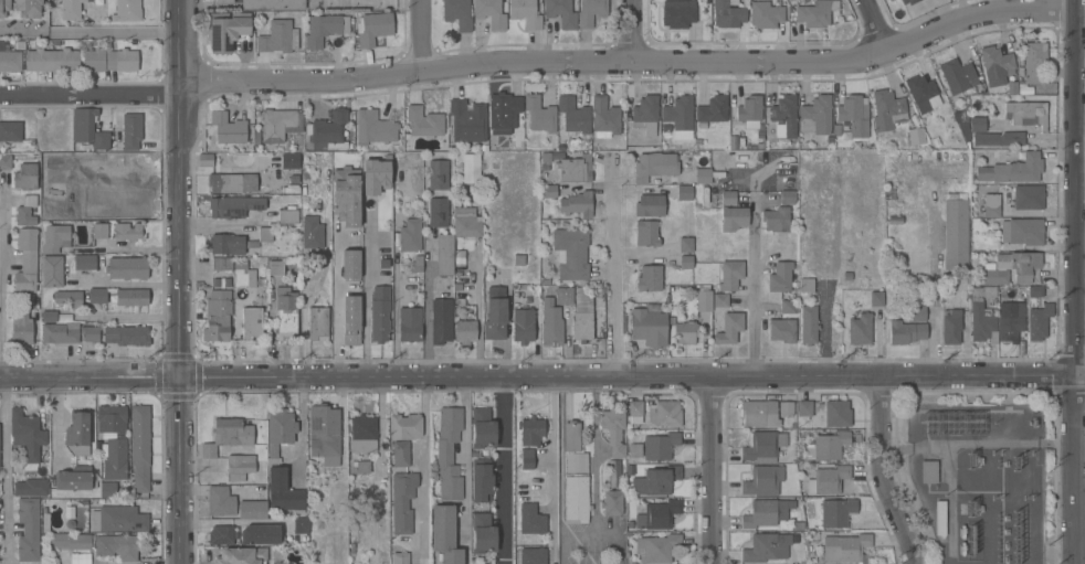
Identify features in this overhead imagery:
building: (790, 0)
building: (909, 1)
building: (224, 2)
building: (273, 4)
building: (3, 8)
building: (28, 8)
building: (71, 9)
building: (127, 11)
building: (560, 12)
building: (591, 12)
building: (457, 13)
building: (489, 13)
building: (525, 13)
building: (678, 13)
building: (728, 13)
building: (817, 13)
building: (766, 14)
road: (1081, 14)
road: (875, 26)
building: (373, 28)
building: (324, 29)
road: (22, 30)
building: (225, 30)
road: (634, 30)
road: (109, 32)
road: (422, 34)
building: (278, 38)
building: (10, 60)
building: (52, 60)
building: (109, 61)
road: (540, 61)
building: (1034, 62)
building: (996, 65)
building: (956, 72)
building: (923, 93)
building: (886, 109)
building: (712, 110)
building: (750, 113)
building: (504, 114)
building: (539, 114)
building: (1026, 114)
building: (573, 115)
building: (645, 115)
building: (854, 115)
building: (817, 116)
building: (678, 117)
building: (784, 117)
building: (604, 118)
building: (467, 121)
building: (280, 125)
building: (422, 125)
building: (977, 125)
building: (228, 128)
building: (373, 128)
building: (88, 129)
building: (131, 130)
building: (10, 131)
building: (327, 131)
building: (916, 136)
building: (1000, 139)
road: (1079, 147)
building: (204, 160)
building: (289, 161)
building: (6, 162)
building: (654, 167)
building: (471, 169)
building: (576, 169)
building: (1013, 170)
building: (438, 175)
building: (703, 175)
building: (25, 177)
building: (376, 177)
building: (233, 183)
building: (295, 183)
building: (548, 191)
building: (122, 192)
building: (684, 192)
building: (346, 196)
building: (1028, 196)
building: (728, 198)
building: (788, 198)
building: (577, 204)
building: (650, 205)
building: (991, 205)
building: (85, 206)
building: (234, 206)
building: (27, 211)
building: (287, 211)
building: (438, 212)
building: (734, 219)
building: (776, 220)
building: (466, 222)
building: (99, 230)
building: (127, 232)
building: (1022, 232)
building: (313, 233)
building: (646, 233)
building: (265, 234)
building: (955, 234)
building: (410, 235)
building: (55, 238)
building: (227, 244)
building: (686, 245)
road: (134, 248)
building: (571, 253)
building: (444, 255)
building: (518, 260)
building: (27, 262)
building: (84, 262)
building: (686, 263)
building: (222, 264)
building: (349, 265)
building: (417, 265)
building: (1020, 266)
building: (128, 267)
building: (275, 268)
building: (52, 272)
building: (730, 275)
building: (243, 276)
building: (780, 277)
building: (994, 277)
building: (650, 279)
road: (178, 281)
road: (1075, 281)
road: (612, 283)
road: (130, 284)
building: (807, 285)
road: (366, 290)
road: (757, 291)
road: (935, 291)
building: (984, 291)
building: (1035, 291)
building: (97, 296)
building: (565, 296)
building: (131, 297)
building: (69, 298)
building: (876, 298)
building: (720, 300)
building: (704, 301)
road: (336, 307)
building: (788, 307)
road: (476, 310)
building: (380, 313)
building: (495, 313)
building: (917, 313)
building: (49, 316)
building: (218, 316)
building: (582, 316)
road: (134, 317)
building: (286, 317)
building: (350, 320)
building: (441, 320)
building: (1039, 321)
road: (426, 322)
building: (318, 323)
building: (550, 323)
building: (983, 323)
building: (252, 324)
building: (410, 324)
building: (809, 324)
road: (393, 326)
building: (523, 326)
building: (950, 326)
building: (1010, 327)
building: (649, 328)
building: (729, 329)
building: (860, 329)
building: (21, 330)
building: (782, 330)
building: (465, 331)
building: (60, 332)
building: (906, 332)
building: (89, 333)
building: (685, 333)
building: (127, 336)
road: (1, 374)
road: (542, 381)
building: (786, 408)
building: (804, 408)
building: (633, 412)
building: (664, 414)
building: (759, 414)
building: (833, 414)
building: (110, 417)
road: (301, 417)
road: (56, 422)
building: (404, 427)
building: (483, 428)
building: (280, 430)
building: (613, 430)
building: (530, 432)
building: (77, 434)
building: (362, 434)
building: (229, 435)
building: (325, 436)
building: (571, 436)
building: (27, 437)
building: (762, 445)
building: (830, 445)
building: (660, 446)
building: (139, 447)
road: (423, 447)
building: (634, 450)
road: (552, 451)
building: (401, 454)
building: (449, 454)
building: (114, 457)
road: (594, 458)
road: (464, 459)
building: (527, 459)
building: (360, 467)
building: (240, 468)
road: (714, 471)
road: (505, 472)
building: (928, 472)
building: (615, 475)
road: (877, 475)
building: (75, 479)
building: (482, 480)
building: (655, 480)
building: (762, 480)
building: (828, 480)
power substation: (977, 481)
building: (30, 487)
building: (576, 488)
building: (108, 490)
building: (283, 491)
building: (221, 501)
building: (402, 501)
building: (612, 502)
building: (252, 510)
building: (766, 512)
building: (836, 512)
building: (656, 515)
building: (940, 518)
building: (118, 519)
building: (531, 520)
building: (44, 521)
building: (299, 525)
building: (28, 529)
building: (483, 533)
building: (260, 534)
building: (221, 535)
building: (444, 535)
road: (589, 535)
building: (71, 541)
building: (118, 546)
building: (657, 547)
building: (766, 547)
building: (845, 549)
building: (533, 555)
building: (242, 556)
building: (77, 558)
building: (400, 558)

